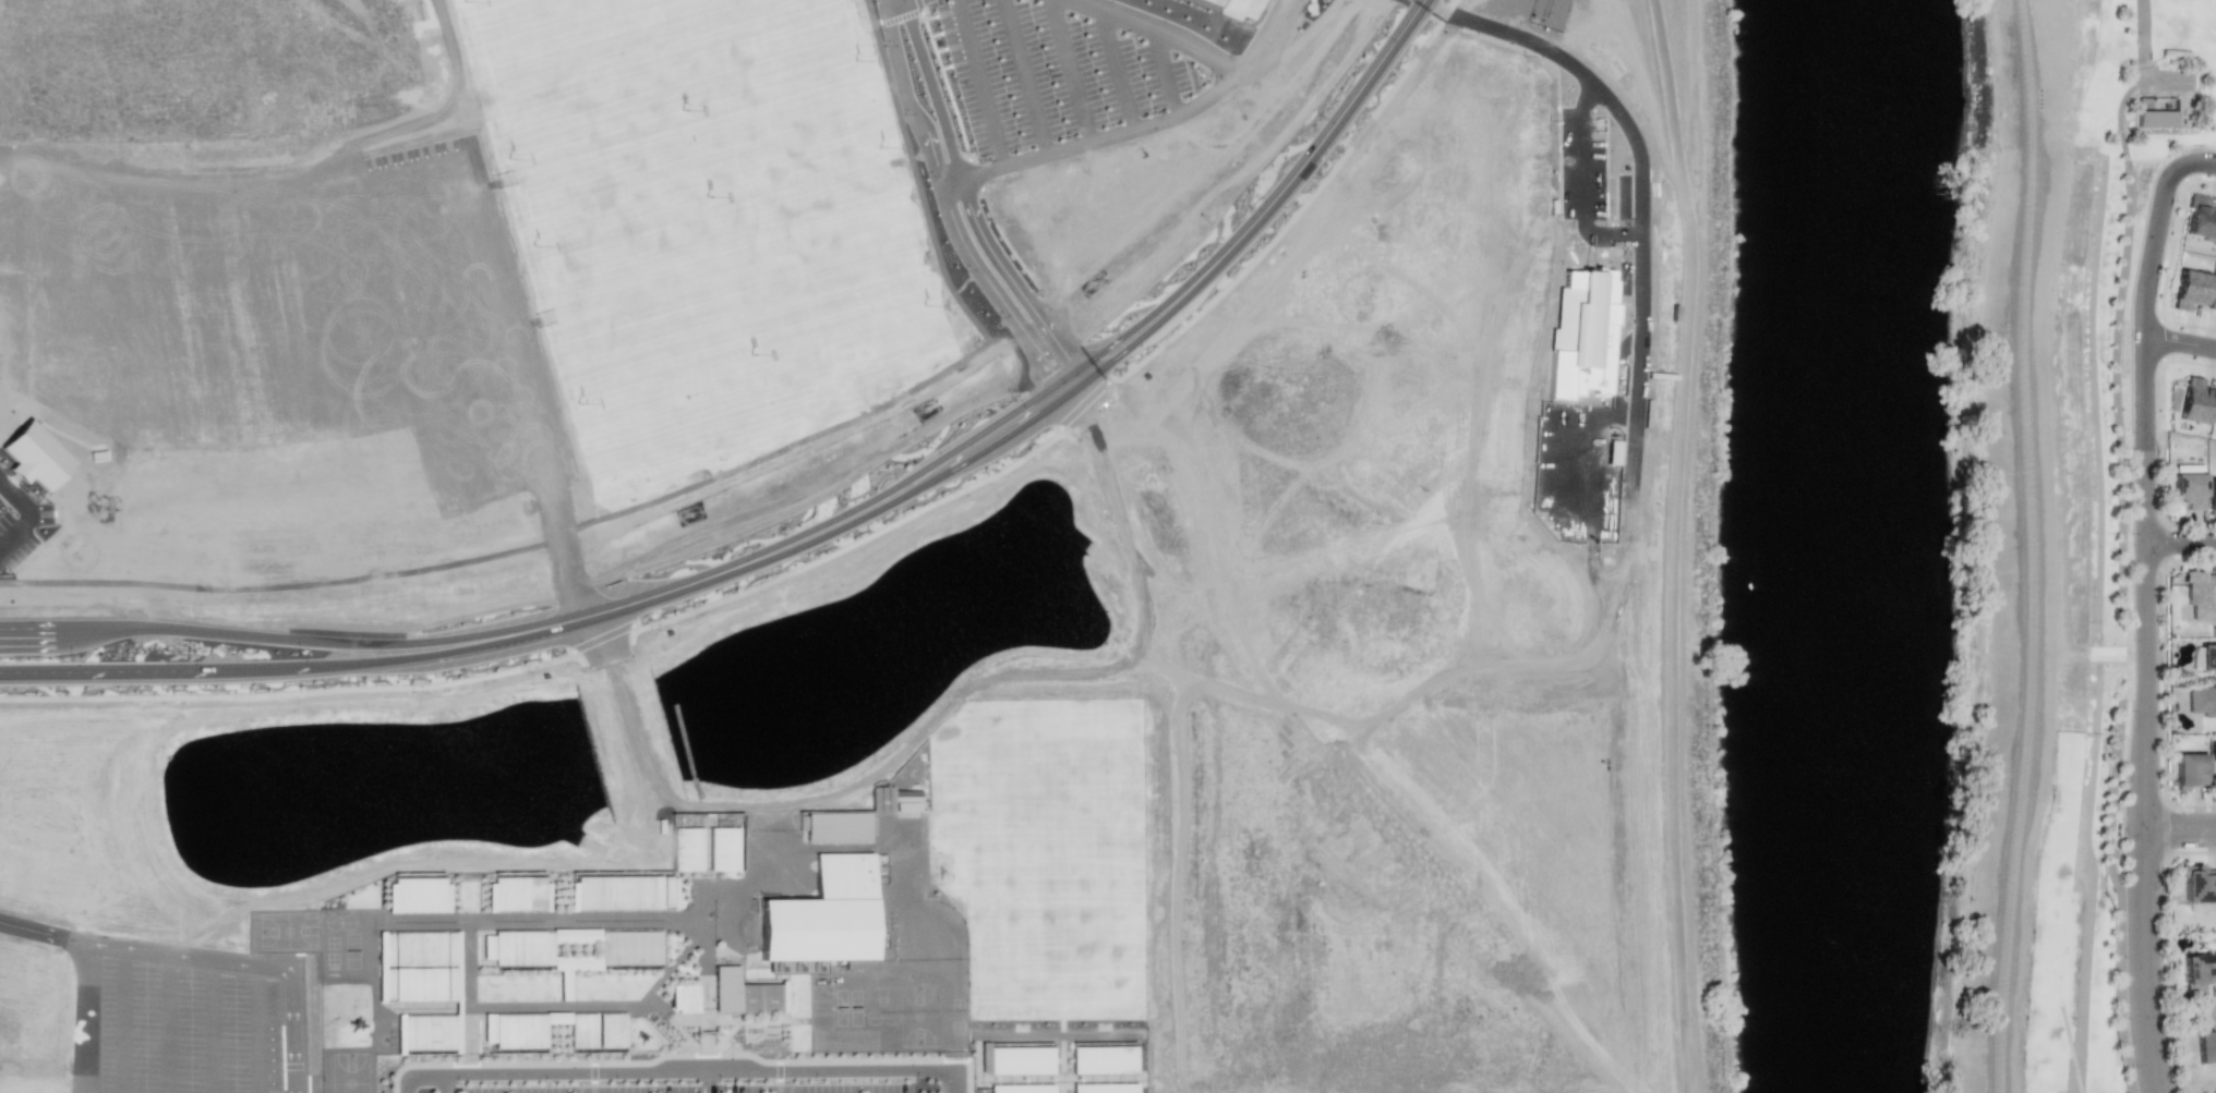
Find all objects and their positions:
road: (898, 1)
park: (1218, 2)
road: (892, 14)
road: (2143, 37)
park: (2189, 38)
road: (1072, 70)
road: (1118, 71)
road: (1168, 74)
road: (1022, 76)
road: (977, 83)
road: (1177, 110)
building: (2155, 118)
road: (1670, 126)
road: (4, 159)
road: (2200, 161)
road: (2183, 165)
road: (1586, 181)
road: (966, 196)
road: (1643, 211)
road: (951, 217)
building: (2200, 219)
park: (702, 222)
crop: (2076, 241)
building: (2189, 289)
road: (2144, 294)
building: (2212, 294)
building: (1580, 336)
road: (2180, 341)
building: (2195, 401)
building: (2215, 420)
road: (999, 421)
building: (34, 456)
building: (2189, 489)
building: (2212, 497)
road: (24, 515)
road: (2180, 538)
river: (1800, 545)
road: (1671, 546)
road: (2027, 546)
road: (562, 557)
building: (2201, 594)
road: (218, 631)
building: (2207, 657)
road: (218, 672)
building: (2202, 701)
building: (2213, 752)
road: (2144, 763)
building: (2189, 770)
building: (880, 800)
building: (836, 826)
road: (2180, 828)
building: (2199, 884)
park: (1046, 886)
building: (623, 890)
building: (518, 892)
building: (417, 895)
building: (822, 913)
building: (521, 946)
building: (631, 946)
road: (203, 958)
building: (417, 964)
building: (859, 964)
building: (2197, 973)
building: (740, 992)
building: (685, 998)
road: (2204, 1013)
road: (75, 1017)
parking lot: (179, 1023)
building: (595, 1029)
building: (519, 1030)
building: (427, 1033)
building: (2205, 1046)
building: (983, 1057)
building: (1103, 1059)
building: (1020, 1060)
road: (682, 1072)
road: (706, 1082)
road: (443, 1083)
building: (1021, 1089)

